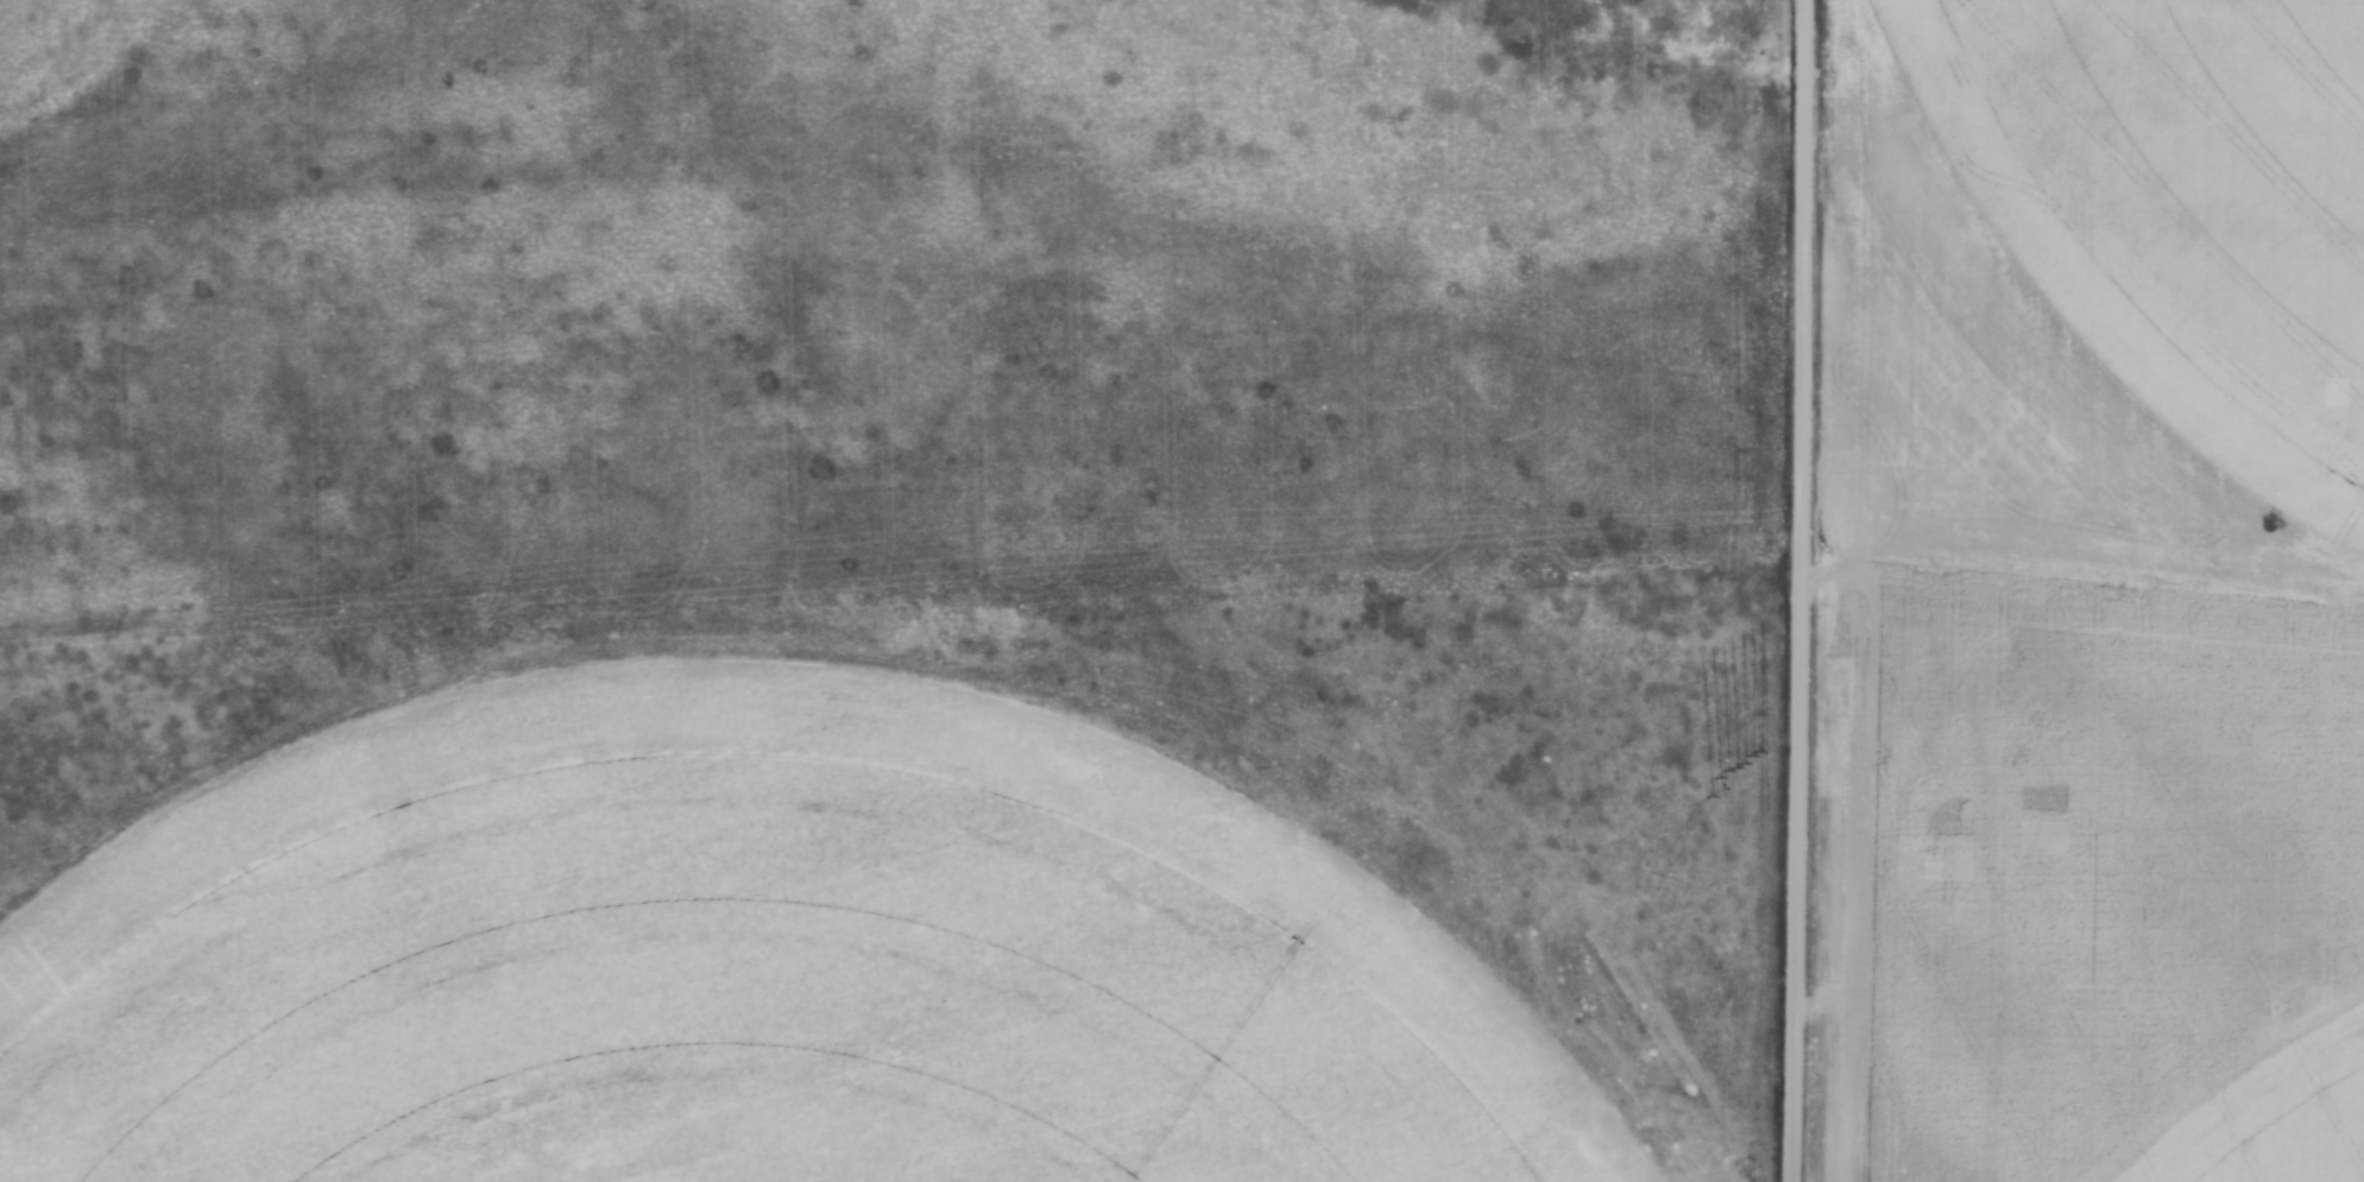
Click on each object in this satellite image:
road: (1801, 590)
crop: (761, 957)

